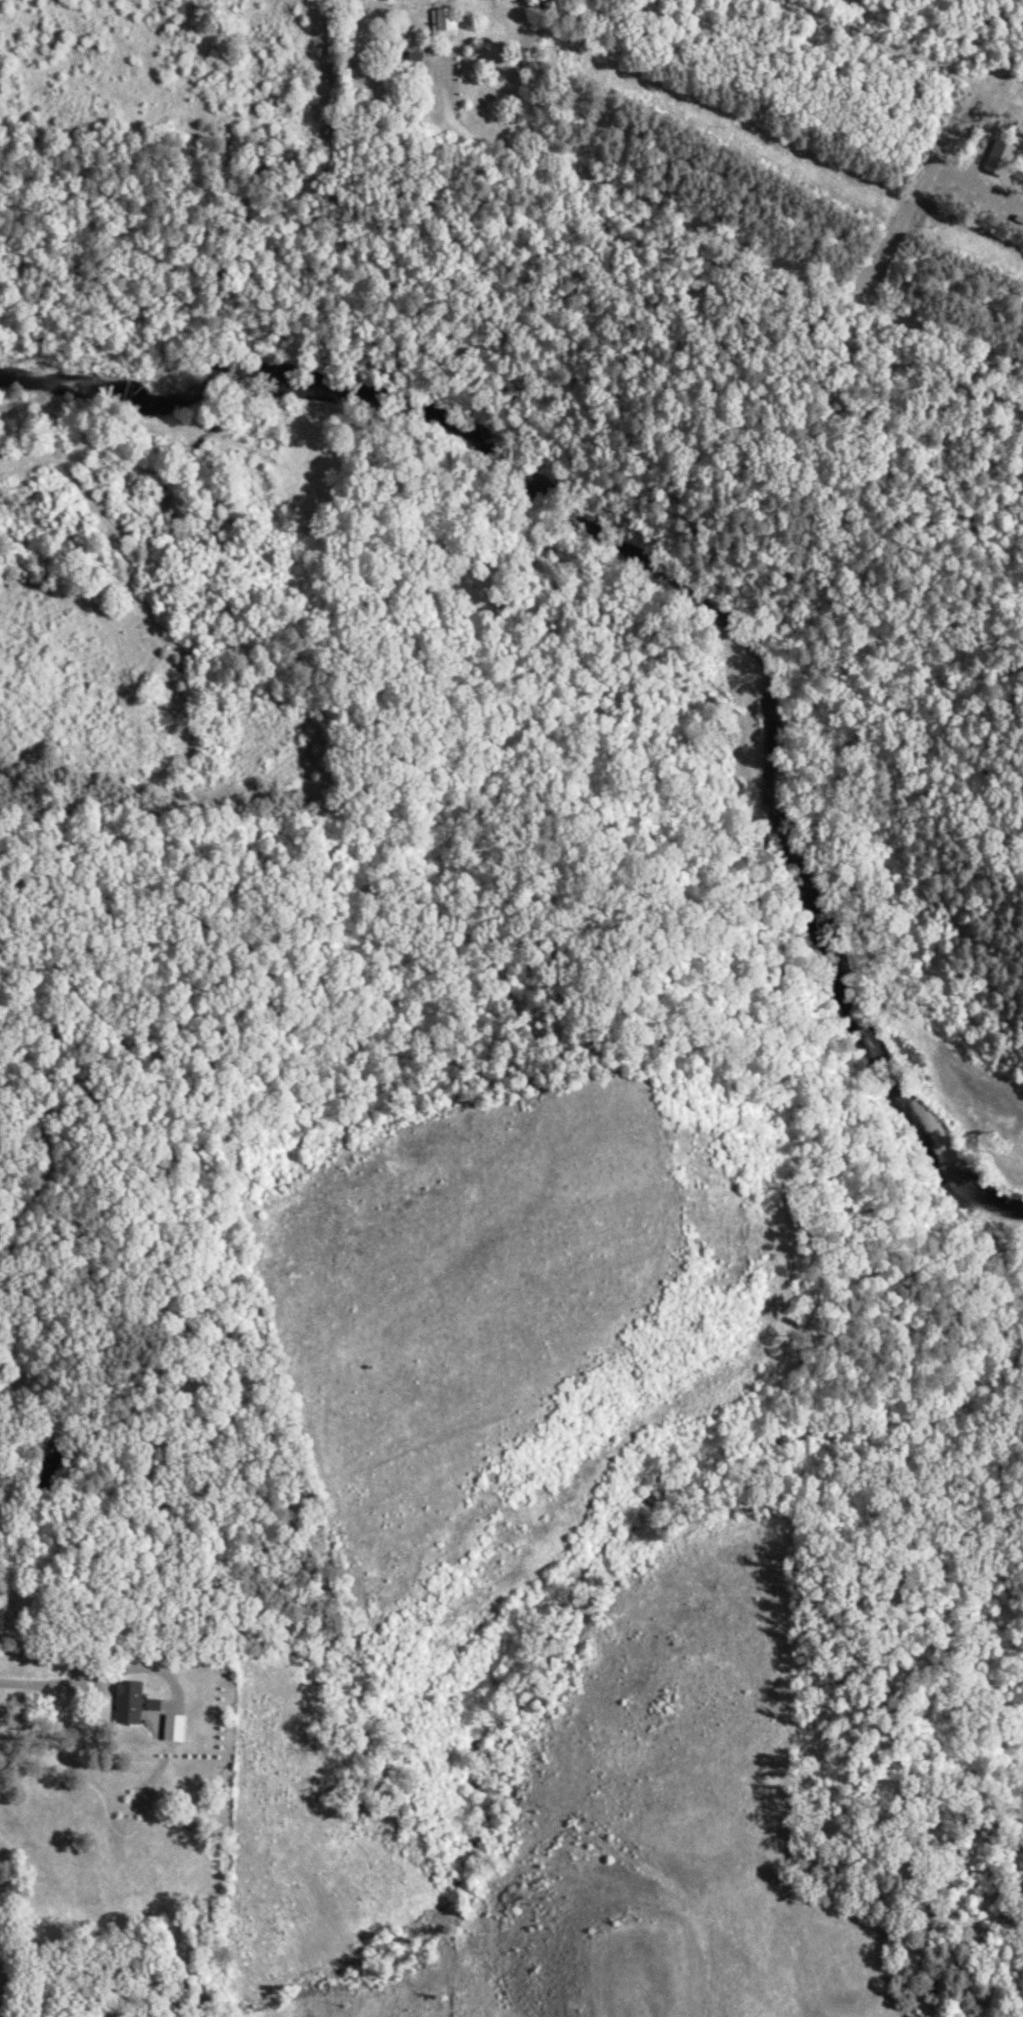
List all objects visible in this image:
building: (449, 19)
road: (699, 231)
building: (135, 1701)
building: (181, 1728)

